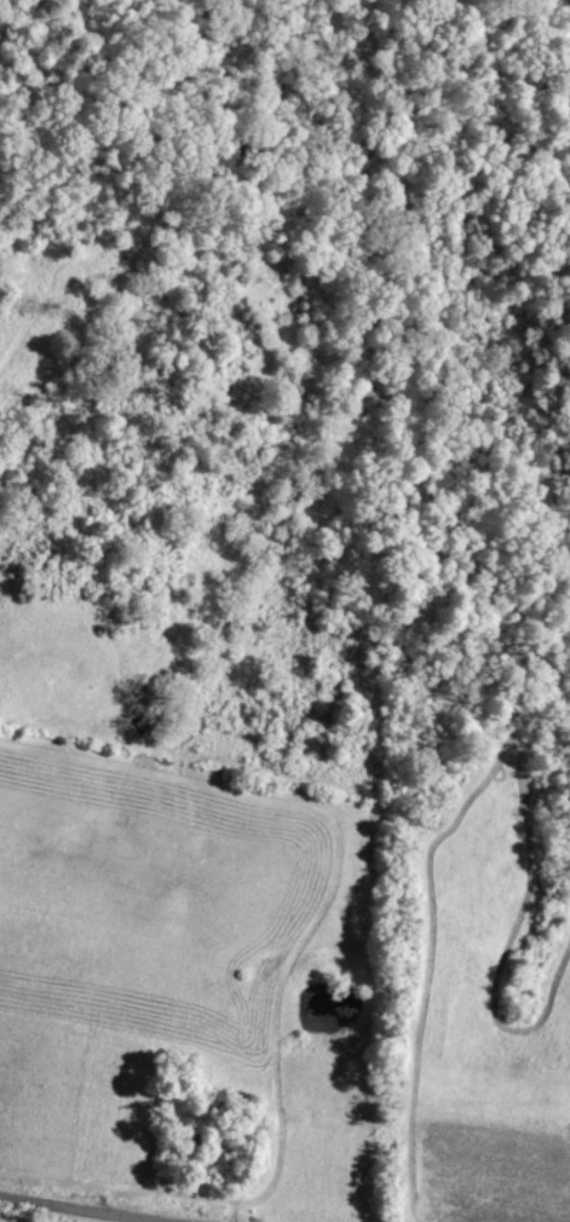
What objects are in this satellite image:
road: (46, 1212)

